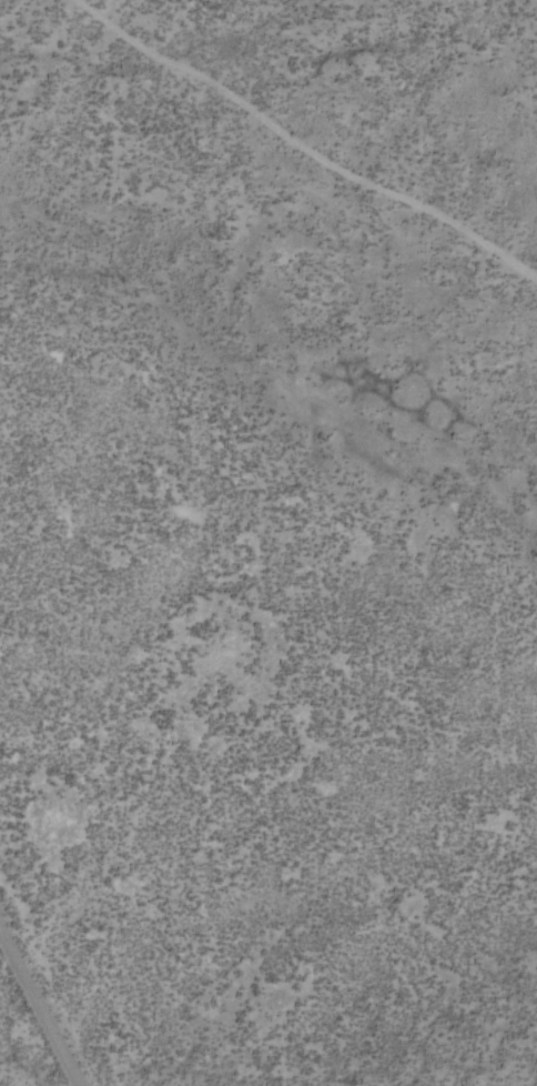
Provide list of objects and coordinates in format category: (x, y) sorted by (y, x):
road: (304, 145)
road: (40, 1006)

